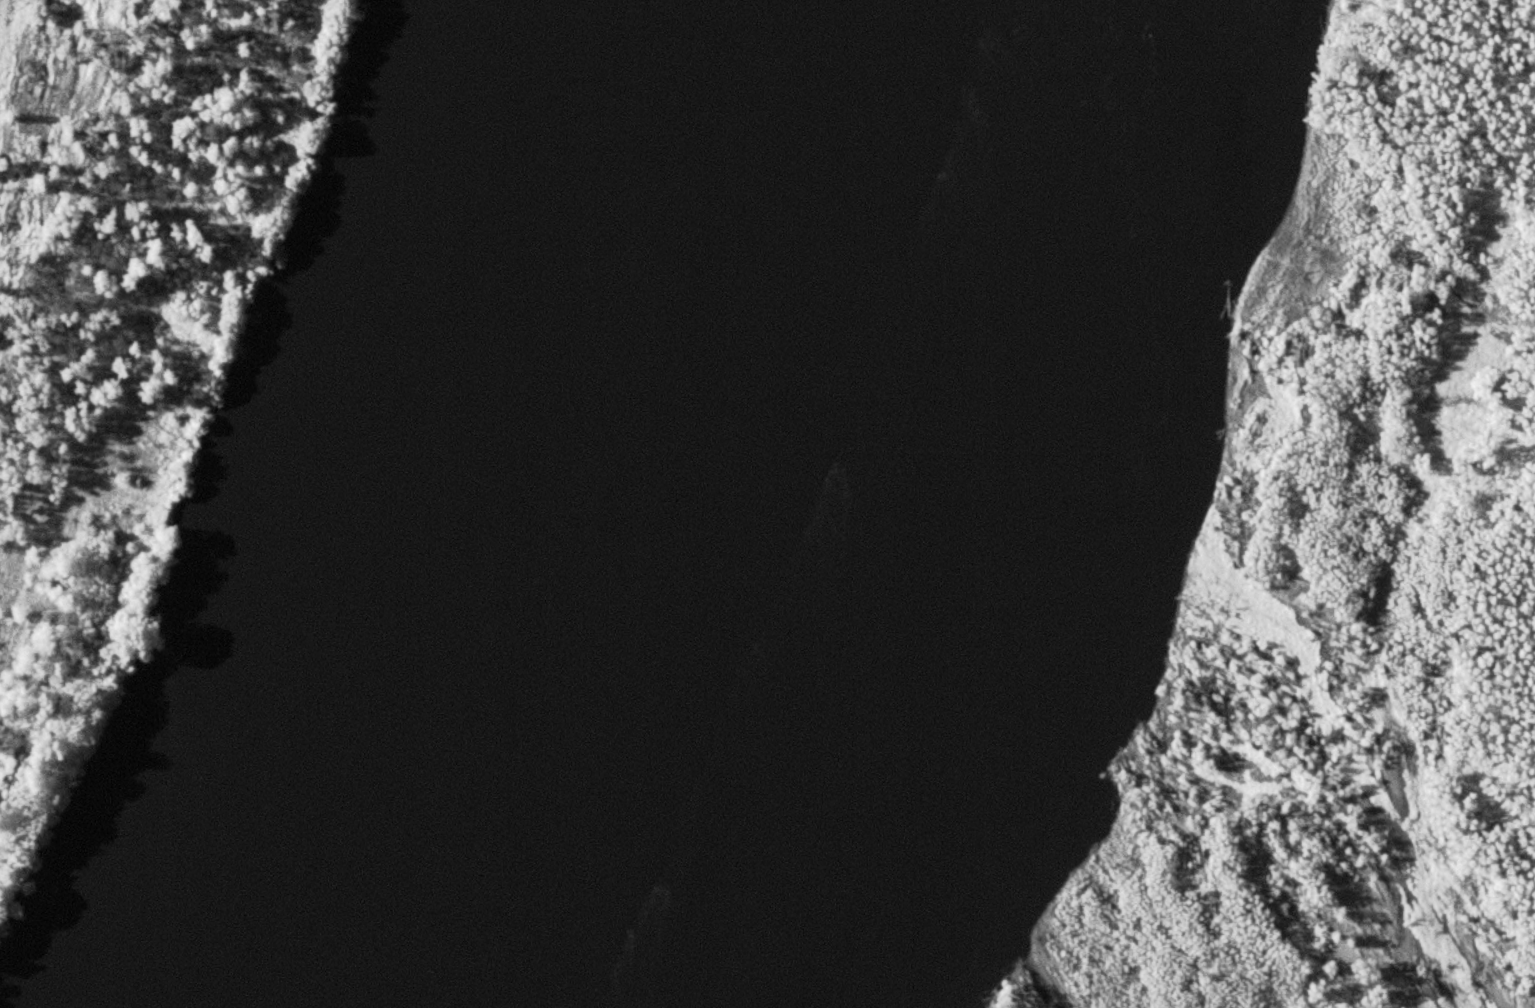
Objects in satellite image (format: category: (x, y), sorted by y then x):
river: (518, 512)

